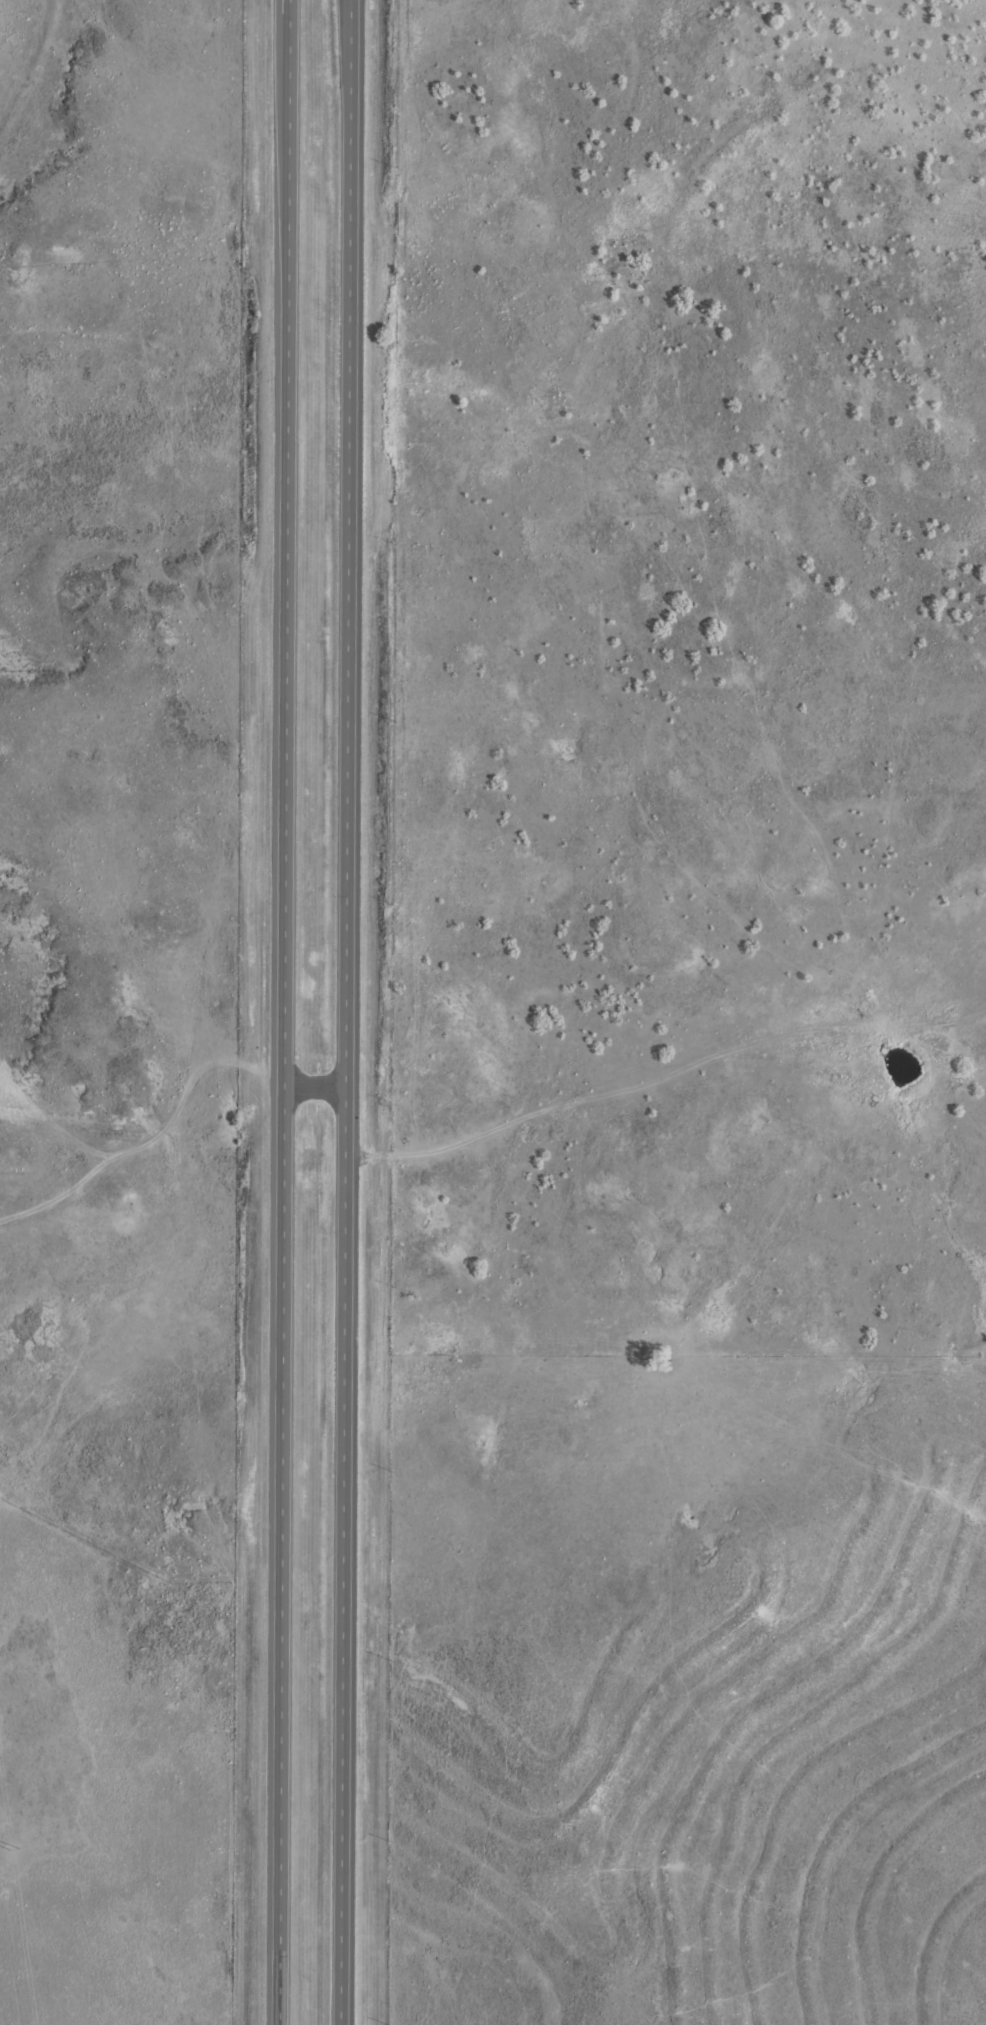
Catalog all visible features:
road: (350, 577)
road: (285, 1012)
road: (610, 1065)
road: (149, 1136)
road: (316, 1155)
road: (345, 1590)
power tower: (13, 1847)

